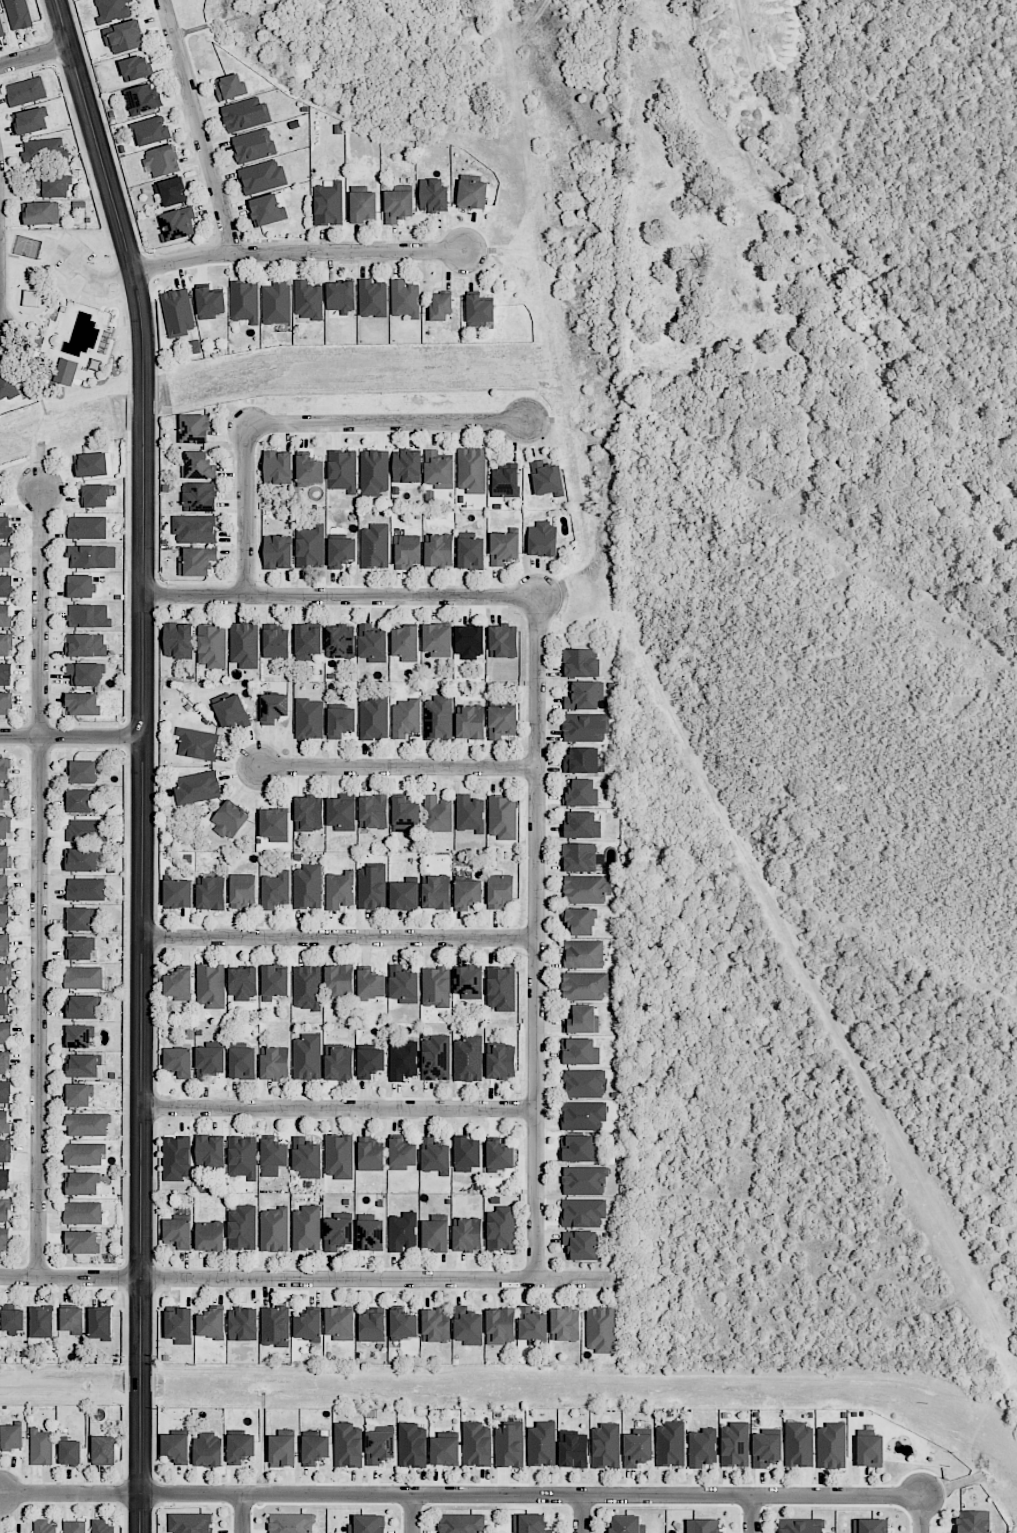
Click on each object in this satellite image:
building: (112, 9)
building: (18, 14)
building: (1, 28)
building: (124, 37)
road: (34, 56)
building: (135, 68)
building: (229, 87)
building: (25, 91)
building: (142, 98)
building: (245, 114)
building: (29, 120)
road: (198, 127)
building: (151, 130)
building: (253, 145)
building: (44, 149)
building: (161, 160)
building: (262, 176)
building: (52, 186)
building: (171, 190)
building: (433, 194)
building: (472, 194)
building: (329, 203)
building: (397, 205)
building: (363, 206)
building: (39, 212)
building: (177, 223)
road: (299, 254)
parking lot: (76, 262)
road: (59, 263)
road: (87, 272)
road: (94, 287)
road: (66, 288)
building: (340, 298)
building: (372, 298)
building: (307, 299)
building: (404, 299)
building: (244, 301)
building: (209, 302)
building: (276, 302)
building: (441, 306)
building: (479, 310)
building: (178, 311)
building: (193, 347)
building: (66, 371)
building: (7, 384)
road: (388, 423)
building: (194, 428)
building: (93, 464)
building: (198, 466)
building: (277, 466)
building: (406, 466)
building: (310, 469)
building: (343, 470)
building: (438, 470)
building: (471, 470)
building: (374, 472)
building: (546, 478)
building: (505, 480)
building: (94, 495)
building: (199, 496)
road: (246, 514)
building: (87, 527)
building: (5, 528)
building: (194, 528)
building: (542, 539)
building: (310, 546)
building: (374, 546)
building: (504, 547)
building: (438, 550)
building: (277, 551)
building: (406, 551)
building: (470, 551)
building: (341, 552)
building: (5, 556)
building: (92, 556)
building: (196, 561)
building: (5, 585)
building: (80, 586)
road: (339, 597)
building: (5, 615)
building: (88, 616)
building: (437, 639)
building: (178, 640)
building: (275, 641)
building: (340, 641)
building: (469, 641)
building: (502, 641)
building: (307, 642)
building: (372, 643)
building: (405, 643)
building: (4, 644)
building: (85, 644)
building: (244, 644)
building: (211, 645)
building: (580, 662)
building: (85, 673)
building: (5, 674)
building: (583, 695)
building: (5, 703)
building: (81, 703)
building: (273, 707)
building: (232, 712)
building: (438, 717)
building: (374, 718)
building: (405, 718)
building: (309, 719)
building: (339, 721)
building: (470, 722)
building: (502, 722)
building: (584, 727)
road: (71, 736)
building: (197, 743)
road: (143, 760)
building: (581, 760)
building: (4, 768)
road: (397, 768)
building: (197, 787)
building: (581, 793)
building: (4, 795)
building: (79, 800)
building: (373, 811)
building: (308, 813)
building: (469, 813)
building: (341, 814)
building: (404, 814)
building: (437, 814)
building: (502, 817)
building: (229, 819)
building: (274, 825)
building: (581, 825)
building: (3, 827)
building: (87, 830)
building: (4, 856)
building: (581, 857)
building: (81, 859)
road: (39, 882)
building: (3, 885)
building: (307, 886)
building: (371, 887)
building: (586, 888)
building: (85, 889)
building: (339, 889)
building: (242, 890)
building: (275, 890)
building: (436, 891)
building: (499, 891)
building: (177, 893)
building: (211, 893)
building: (467, 893)
building: (403, 895)
building: (5, 915)
building: (79, 918)
building: (580, 920)
road: (339, 939)
road: (536, 942)
building: (4, 945)
building: (79, 948)
building: (583, 953)
building: (4, 974)
building: (83, 977)
building: (468, 981)
building: (274, 982)
building: (339, 982)
building: (243, 983)
building: (370, 983)
building: (403, 984)
building: (179, 985)
building: (210, 985)
building: (584, 985)
building: (307, 987)
building: (436, 987)
building: (501, 988)
building: (3, 1003)
building: (82, 1007)
building: (582, 1020)
building: (5, 1033)
building: (77, 1036)
building: (580, 1051)
building: (307, 1057)
building: (435, 1058)
building: (468, 1058)
building: (403, 1060)
building: (500, 1060)
building: (178, 1061)
building: (209, 1061)
building: (3, 1062)
building: (339, 1062)
building: (370, 1062)
building: (242, 1063)
building: (274, 1063)
building: (82, 1065)
building: (583, 1083)
building: (5, 1091)
building: (78, 1094)
road: (339, 1109)
building: (583, 1114)
building: (4, 1121)
building: (87, 1124)
building: (579, 1148)
building: (5, 1151)
building: (210, 1151)
building: (84, 1153)
building: (467, 1153)
building: (370, 1154)
building: (402, 1154)
building: (434, 1155)
building: (498, 1155)
building: (242, 1156)
building: (339, 1156)
building: (176, 1158)
building: (306, 1158)
building: (4, 1179)
building: (584, 1180)
building: (81, 1183)
building: (4, 1209)
building: (83, 1212)
building: (582, 1212)
building: (242, 1227)
building: (306, 1228)
building: (501, 1228)
building: (274, 1229)
building: (402, 1231)
building: (178, 1232)
building: (370, 1232)
building: (337, 1233)
building: (467, 1234)
building: (435, 1235)
building: (209, 1236)
building: (4, 1238)
building: (81, 1242)
building: (581, 1244)
road: (308, 1280)
building: (12, 1320)
building: (72, 1320)
building: (42, 1321)
building: (100, 1322)
building: (242, 1323)
building: (339, 1323)
building: (211, 1324)
building: (404, 1324)
building: (564, 1324)
building: (179, 1325)
building: (371, 1325)
building: (436, 1325)
building: (532, 1325)
building: (275, 1326)
building: (308, 1326)
building: (468, 1326)
building: (500, 1326)
building: (600, 1329)
building: (11, 1437)
building: (670, 1443)
building: (476, 1444)
building: (509, 1444)
building: (542, 1444)
building: (735, 1444)
building: (799, 1444)
building: (347, 1445)
building: (380, 1445)
building: (412, 1445)
building: (606, 1445)
building: (831, 1445)
building: (40, 1447)
building: (702, 1447)
building: (176, 1448)
building: (240, 1448)
building: (572, 1448)
building: (208, 1449)
building: (315, 1449)
building: (637, 1449)
building: (766, 1449)
building: (103, 1450)
building: (282, 1450)
building: (870, 1450)
building: (444, 1451)
building: (70, 1452)
road: (459, 1496)
road: (243, 1514)
road: (413, 1514)
road: (582, 1514)
road: (752, 1514)
road: (921, 1518)
building: (973, 1521)
building: (190, 1522)
building: (291, 1523)
building: (462, 1523)
building: (530, 1523)
building: (366, 1524)
building: (627, 1524)
building: (800, 1525)
building: (869, 1525)
building: (43, 1526)
building: (74, 1526)
building: (101, 1526)
building: (703, 1526)

